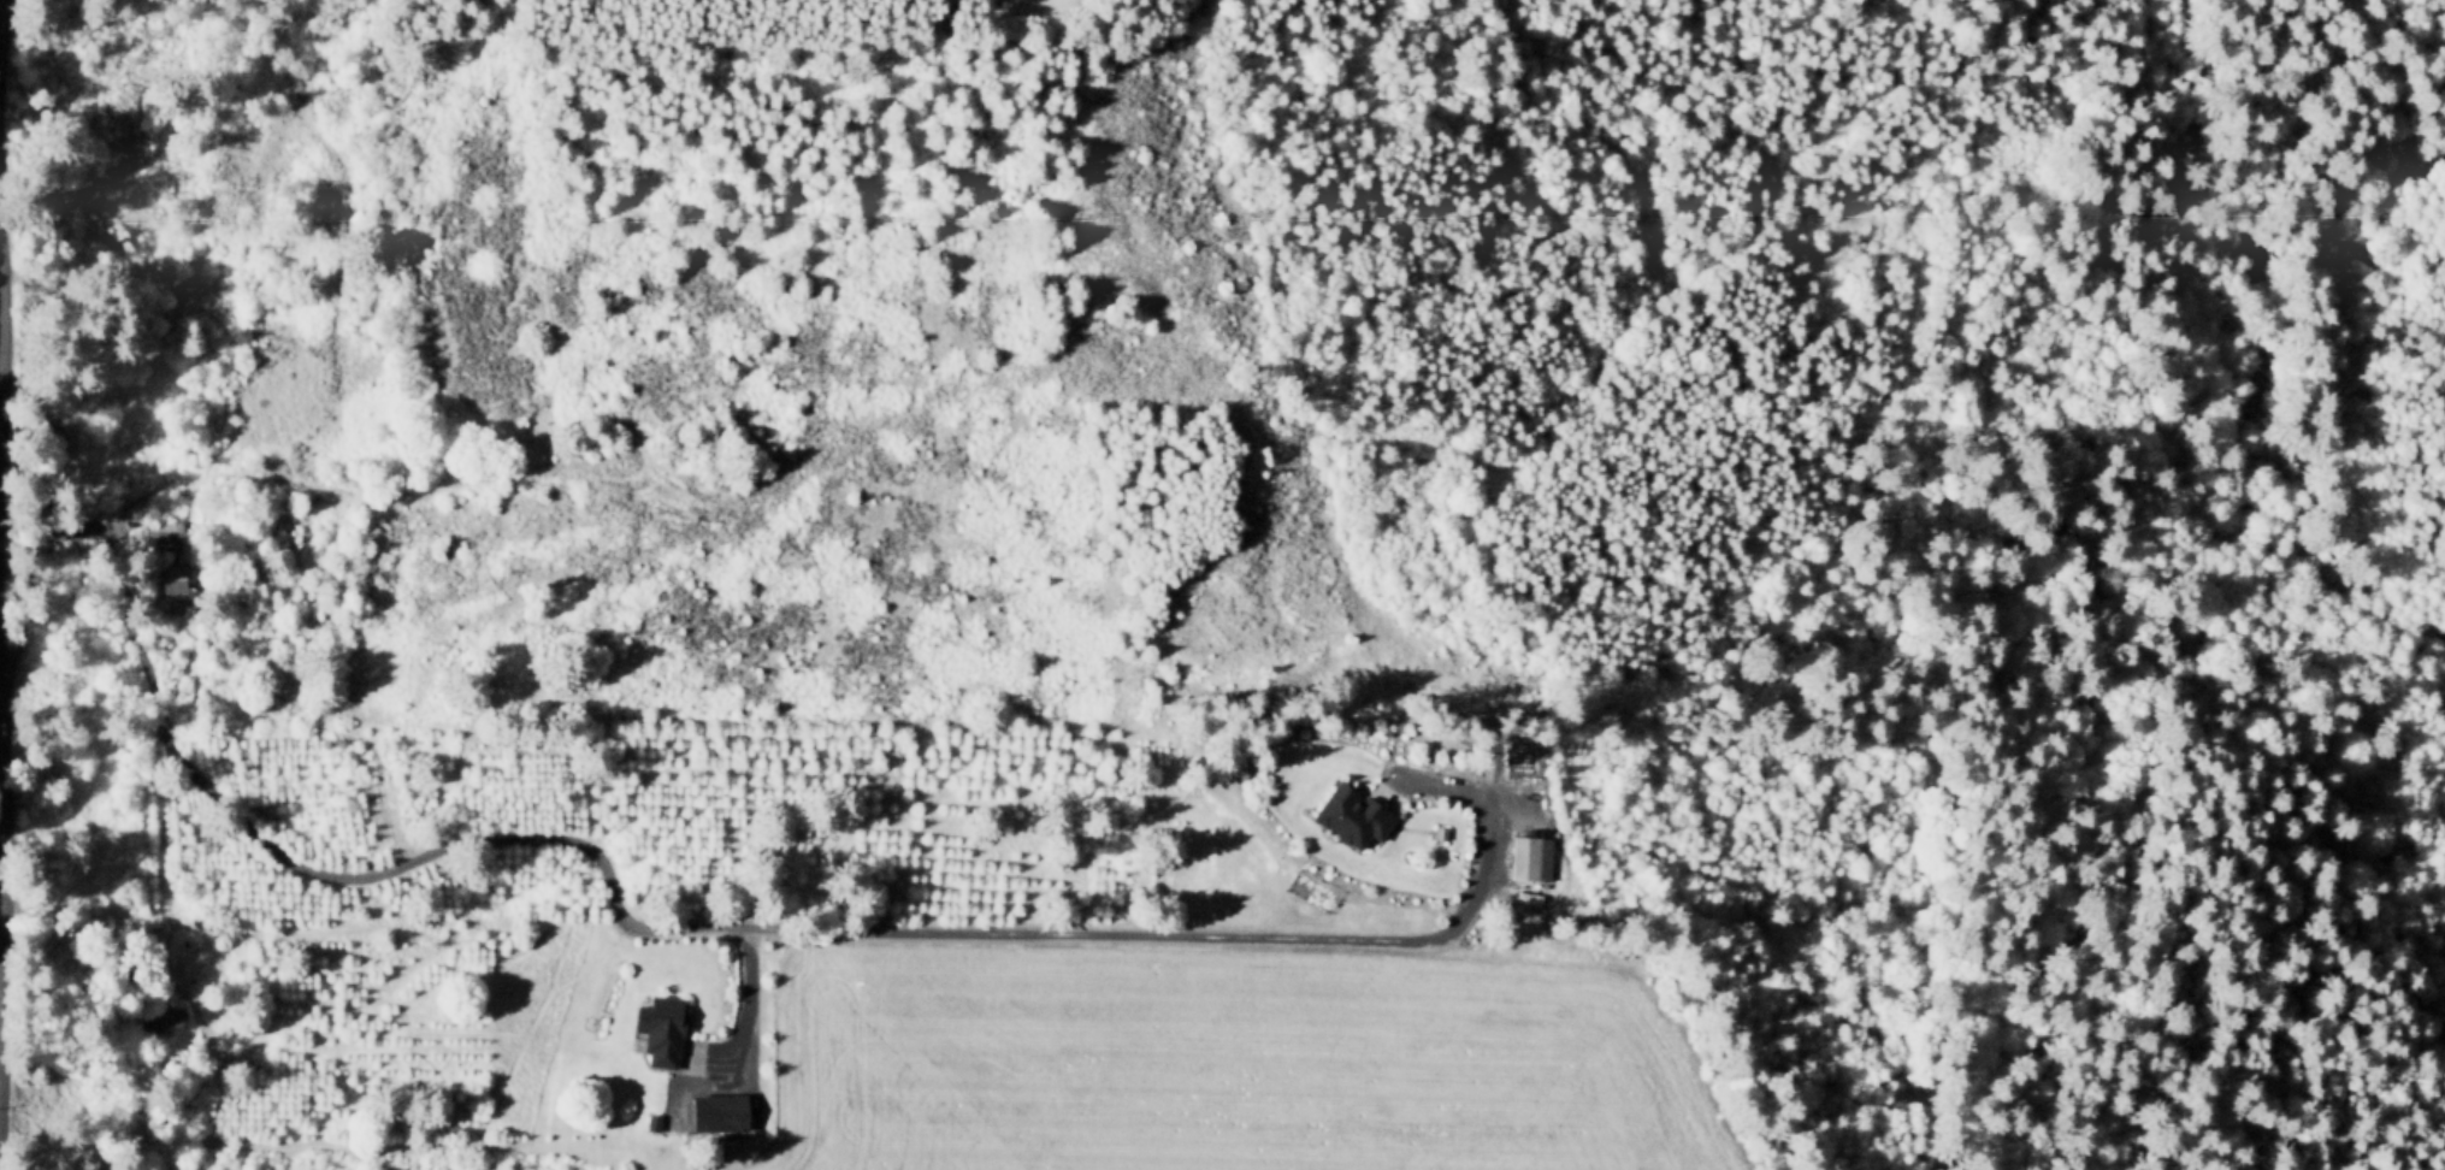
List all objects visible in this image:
road: (1, 37)
building: (52, 449)
road: (2, 455)
road: (114, 530)
building: (163, 533)
building: (173, 592)
road: (2, 725)
building: (1351, 820)
building: (1440, 837)
building: (1532, 862)
road: (321, 874)
road: (1222, 938)
building: (195, 959)
road: (1, 975)
building: (163, 1021)
road: (750, 1026)
building: (660, 1032)
crop: (1206, 1060)
building: (717, 1115)
building: (652, 1125)

